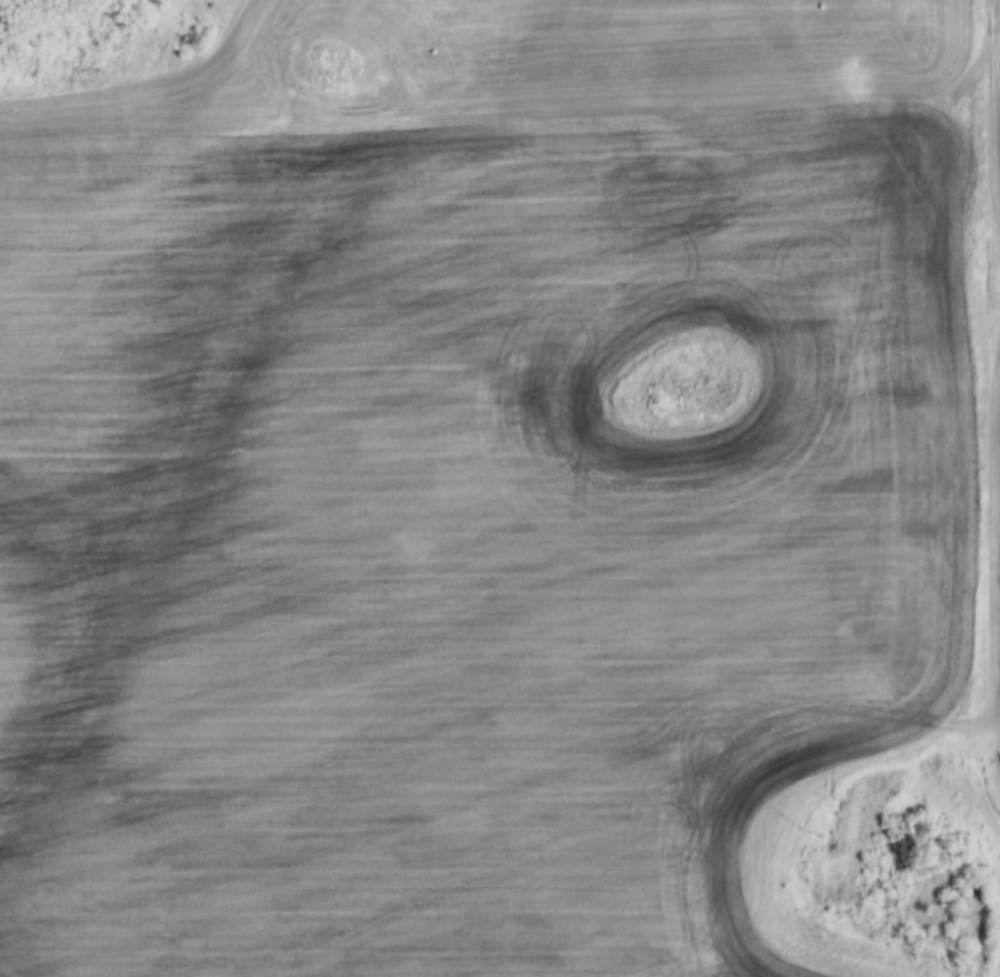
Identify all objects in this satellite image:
road: (997, 187)

